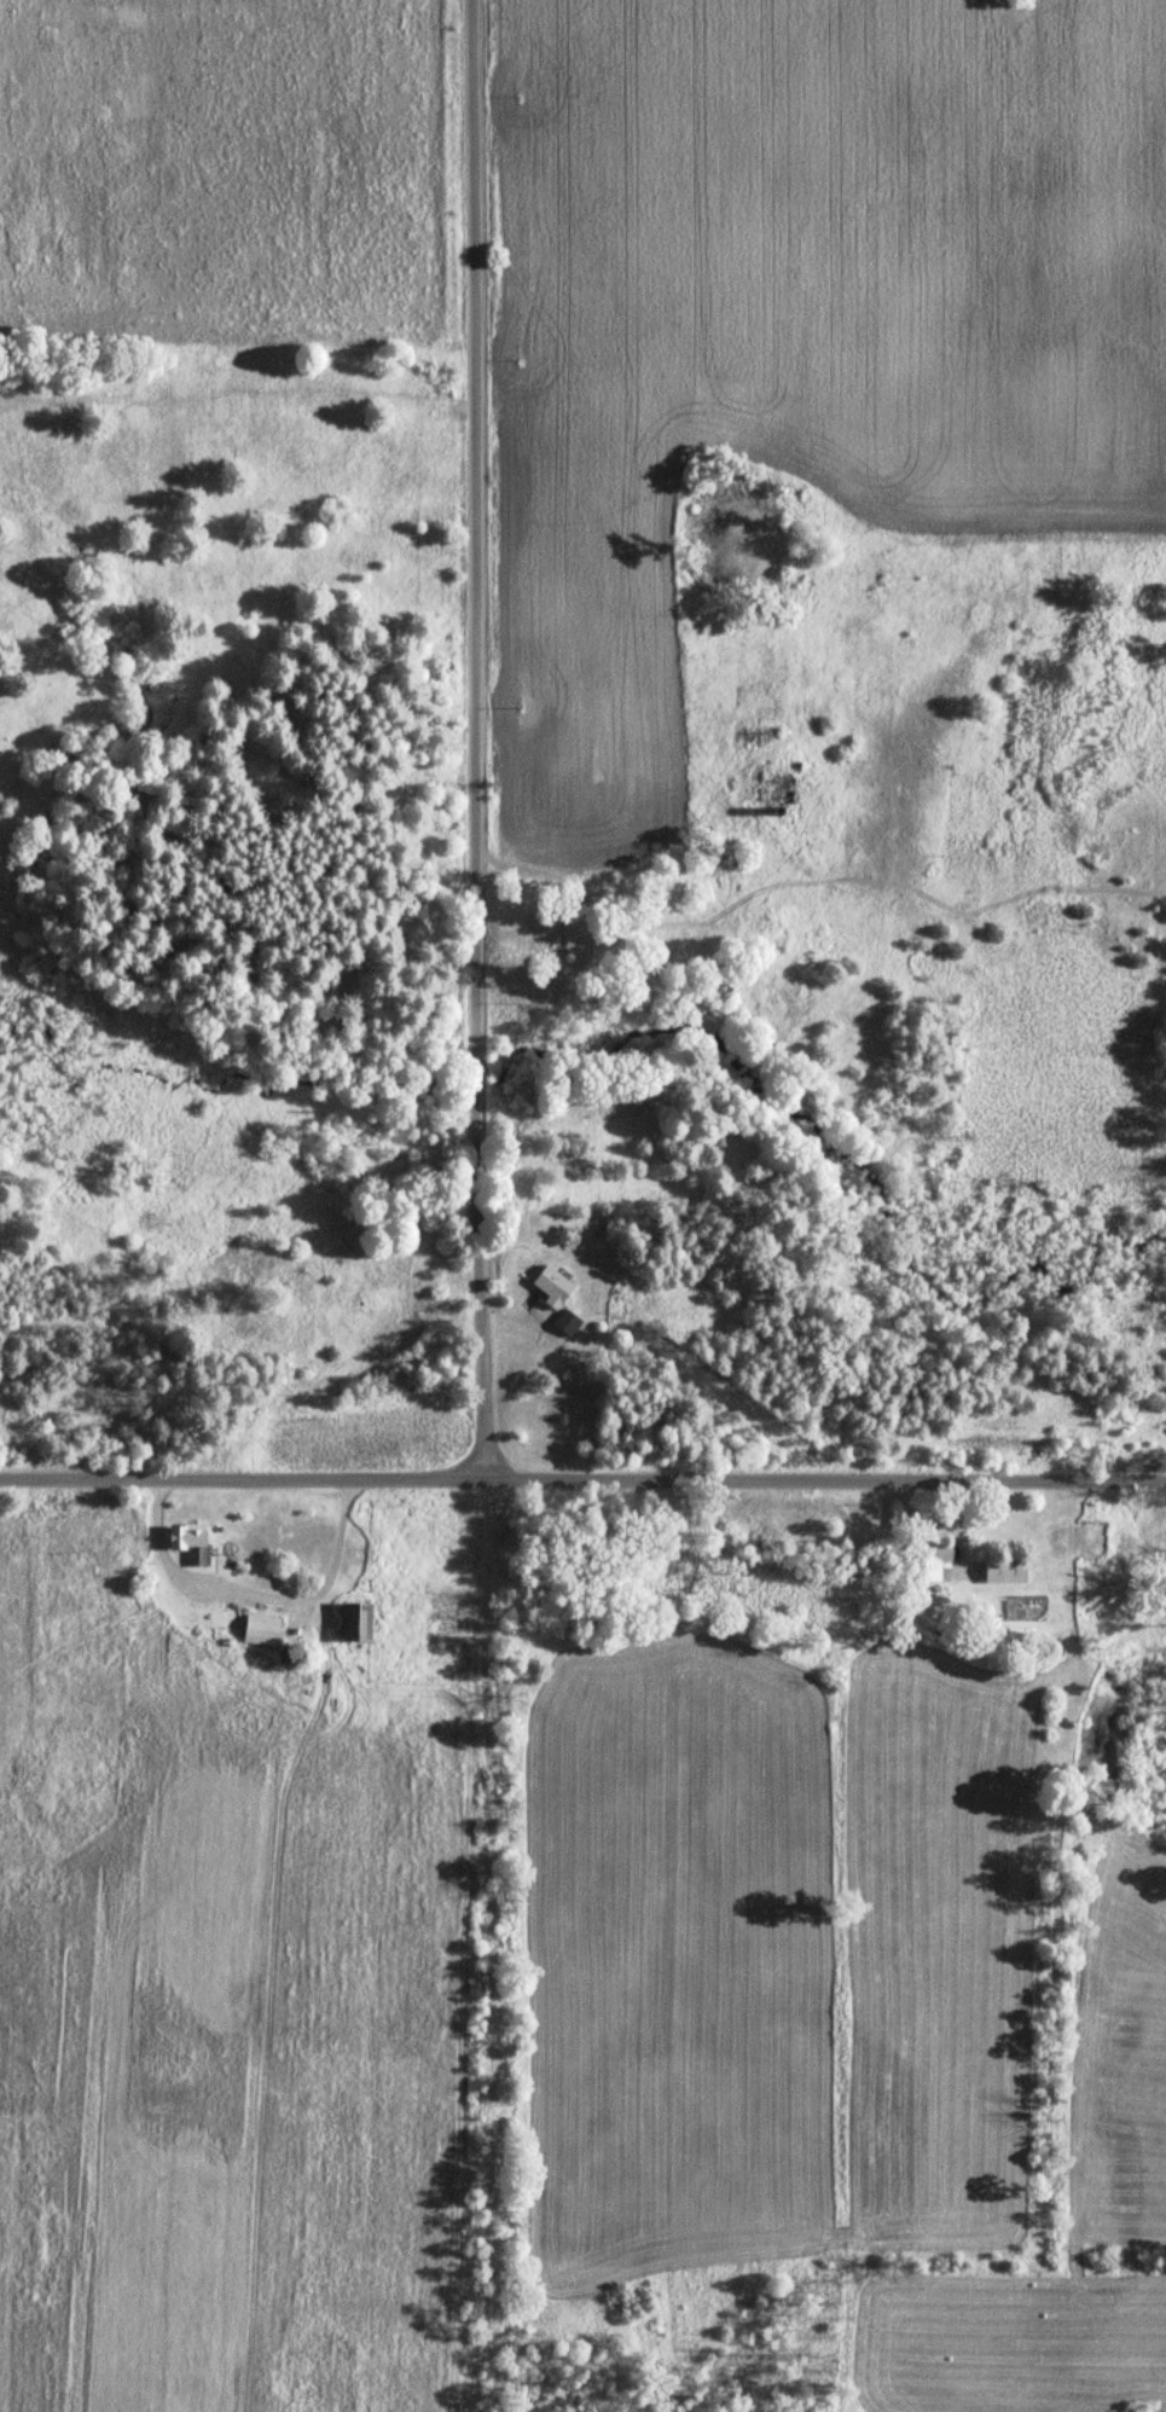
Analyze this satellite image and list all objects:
building: (754, 735)
road: (481, 740)
building: (556, 946)
building: (555, 1286)
building: (569, 1324)
road: (582, 1479)
building: (193, 1546)
building: (939, 1559)
building: (1008, 1571)
road: (246, 1594)
building: (362, 1624)
road: (491, 1943)

